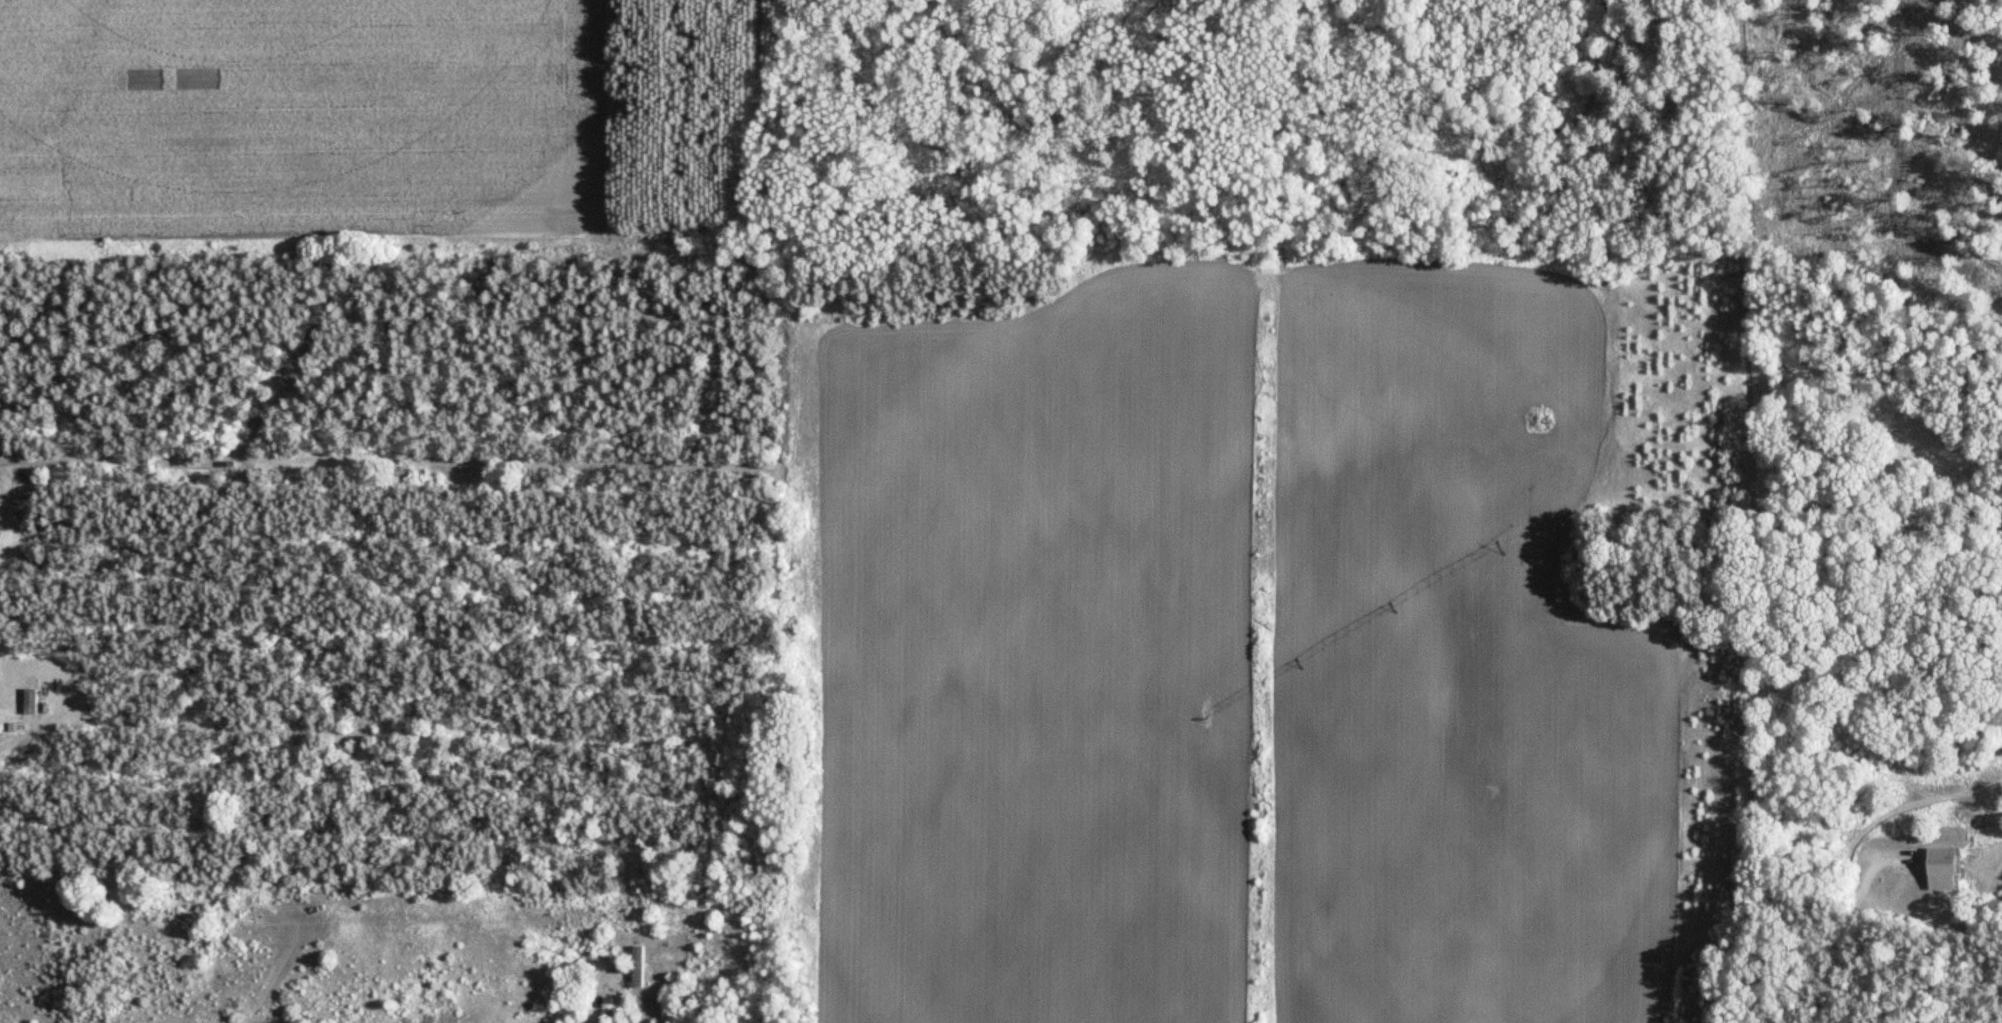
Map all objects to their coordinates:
road: (1750, 511)
building: (1941, 868)
road: (1842, 920)
building: (635, 972)
road: (597, 1000)

